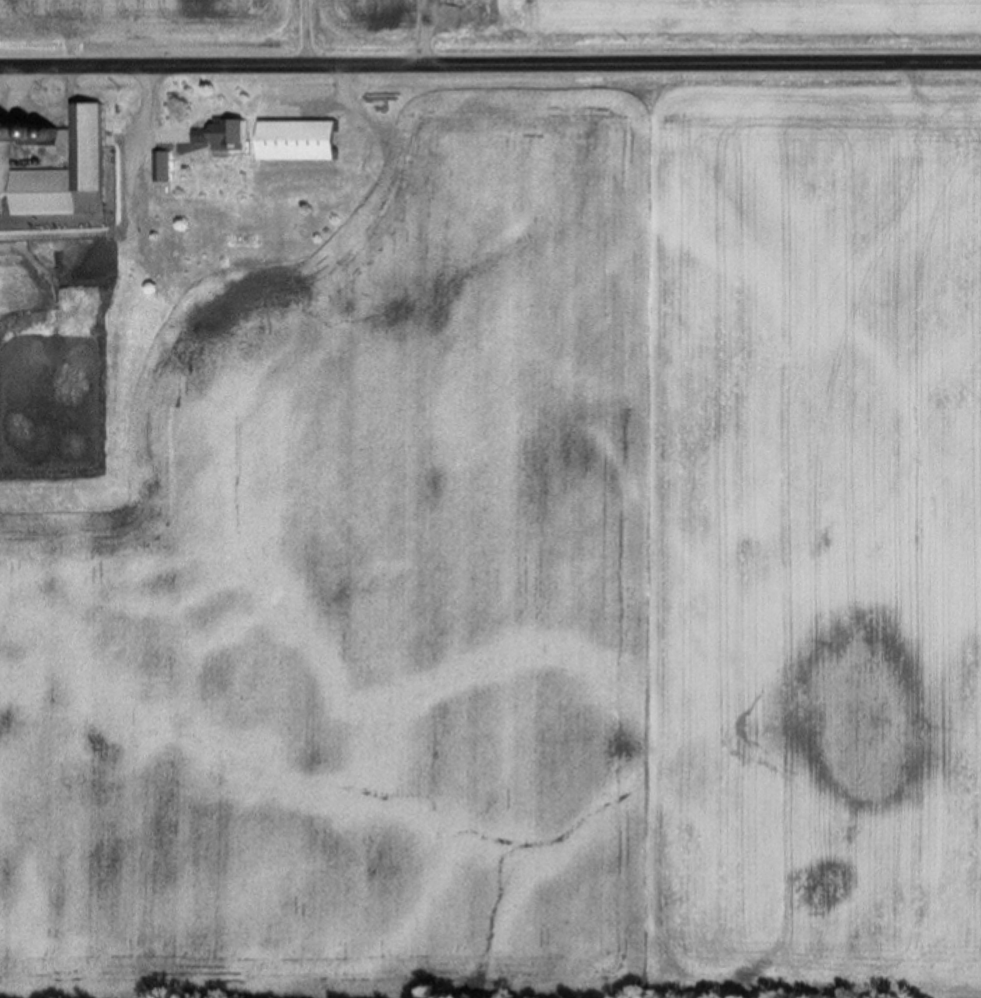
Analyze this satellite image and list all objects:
road: (304, 32)
road: (490, 63)
road: (148, 117)
road: (4, 121)
building: (228, 137)
building: (305, 142)
building: (156, 163)
building: (95, 165)

